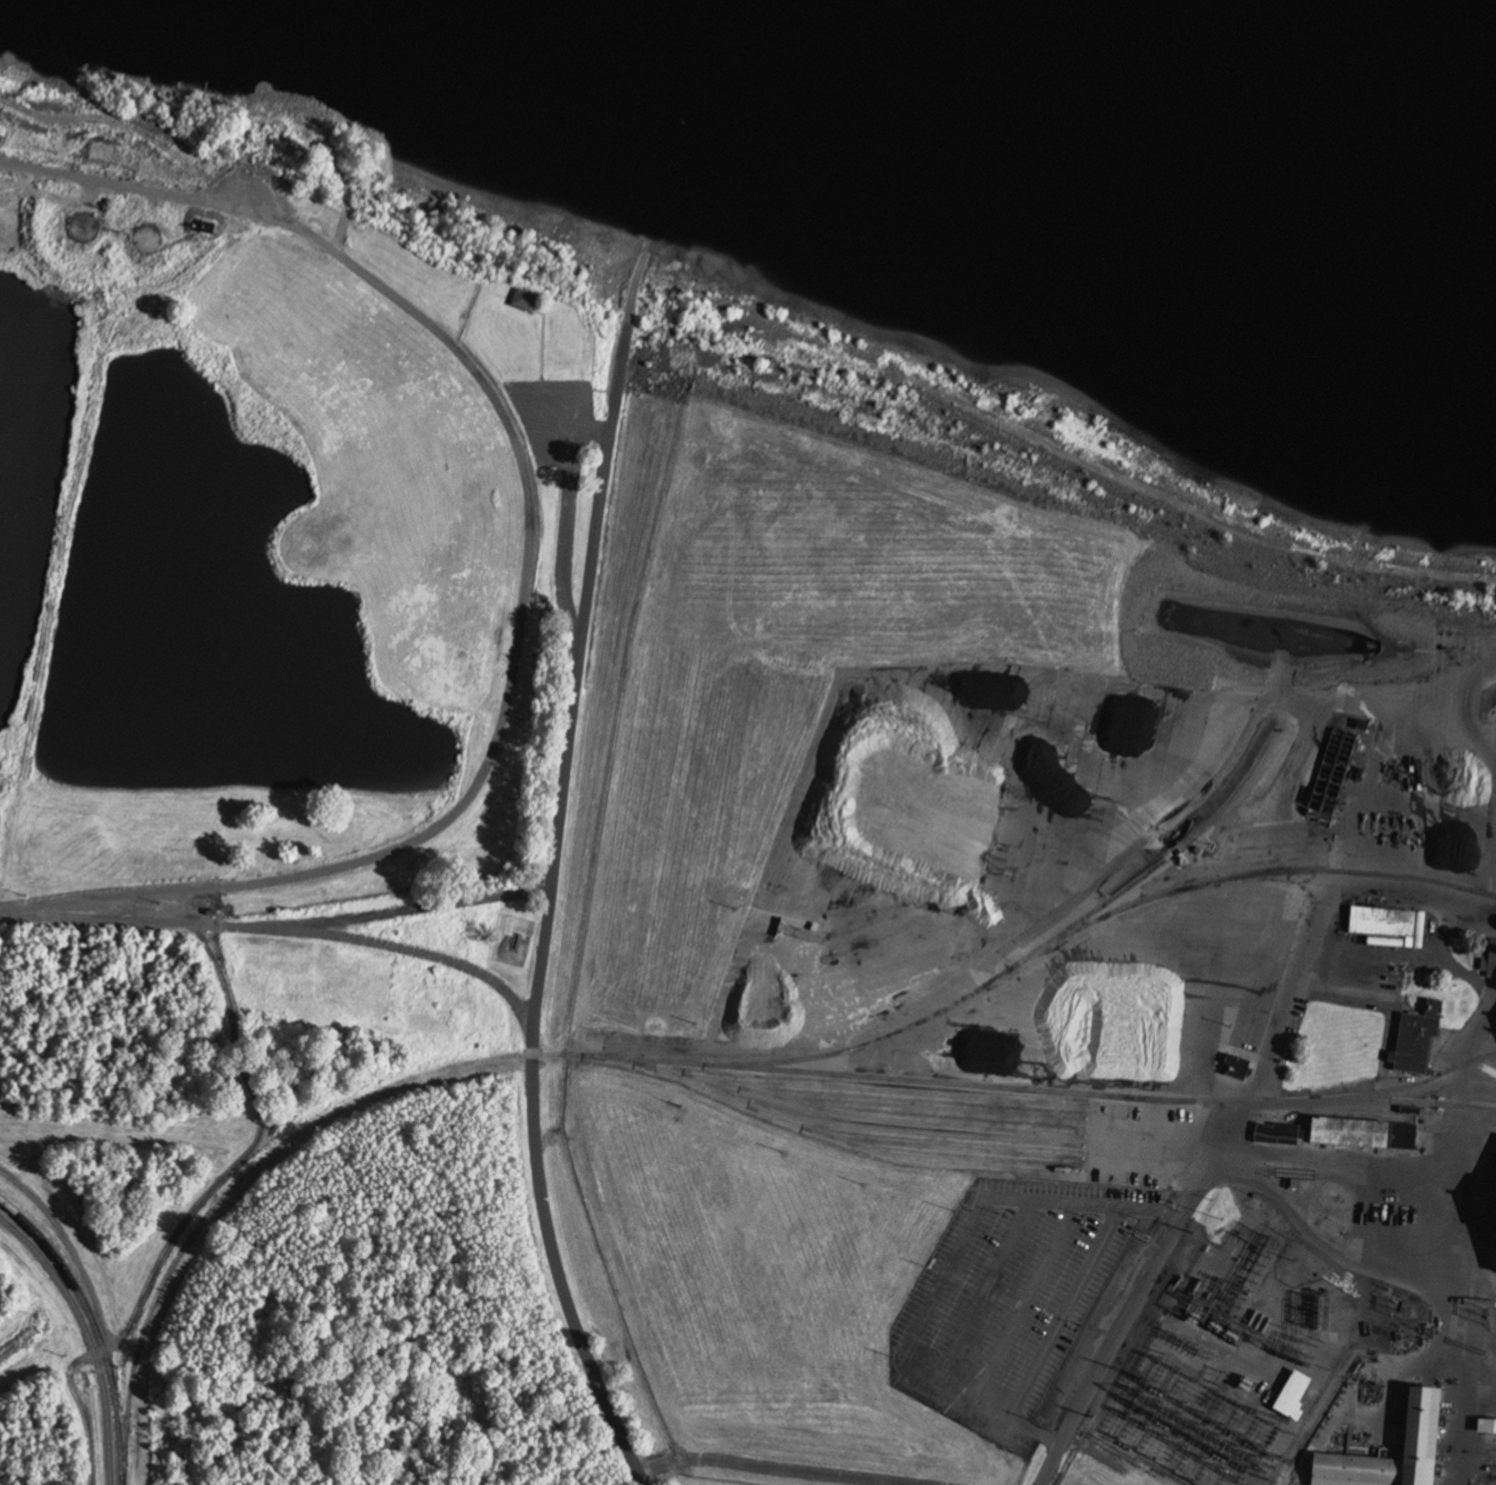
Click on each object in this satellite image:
river: (1323, 47)
road: (636, 271)
building: (522, 302)
road: (525, 562)
railway: (1267, 871)
road: (548, 893)
building: (1387, 926)
road: (276, 930)
road: (428, 956)
building: (1491, 962)
building: (1415, 1041)
railway: (489, 1060)
railway: (746, 1069)
building: (1234, 1069)
railway: (897, 1093)
railway: (1420, 1104)
railway: (922, 1108)
railway: (864, 1118)
railway: (927, 1134)
building: (1276, 1136)
building: (1362, 1136)
railway: (951, 1150)
road: (201, 1198)
railway: (94, 1314)
road: (1119, 1321)
railway: (87, 1339)
power substation: (1230, 1369)
building: (1292, 1396)
power tower: (1090, 1417)
building: (1422, 1424)
building: (1486, 1429)
road: (763, 1466)

